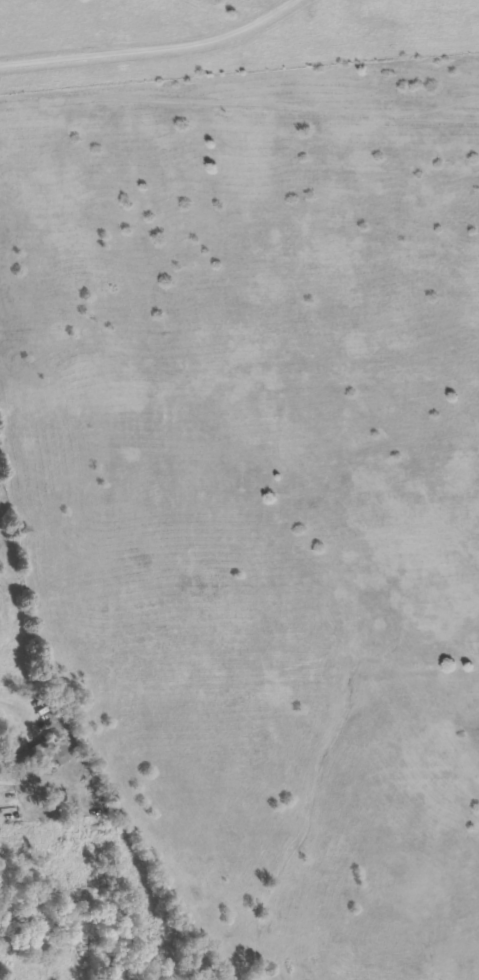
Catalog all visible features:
road: (10, 707)
building: (45, 754)

